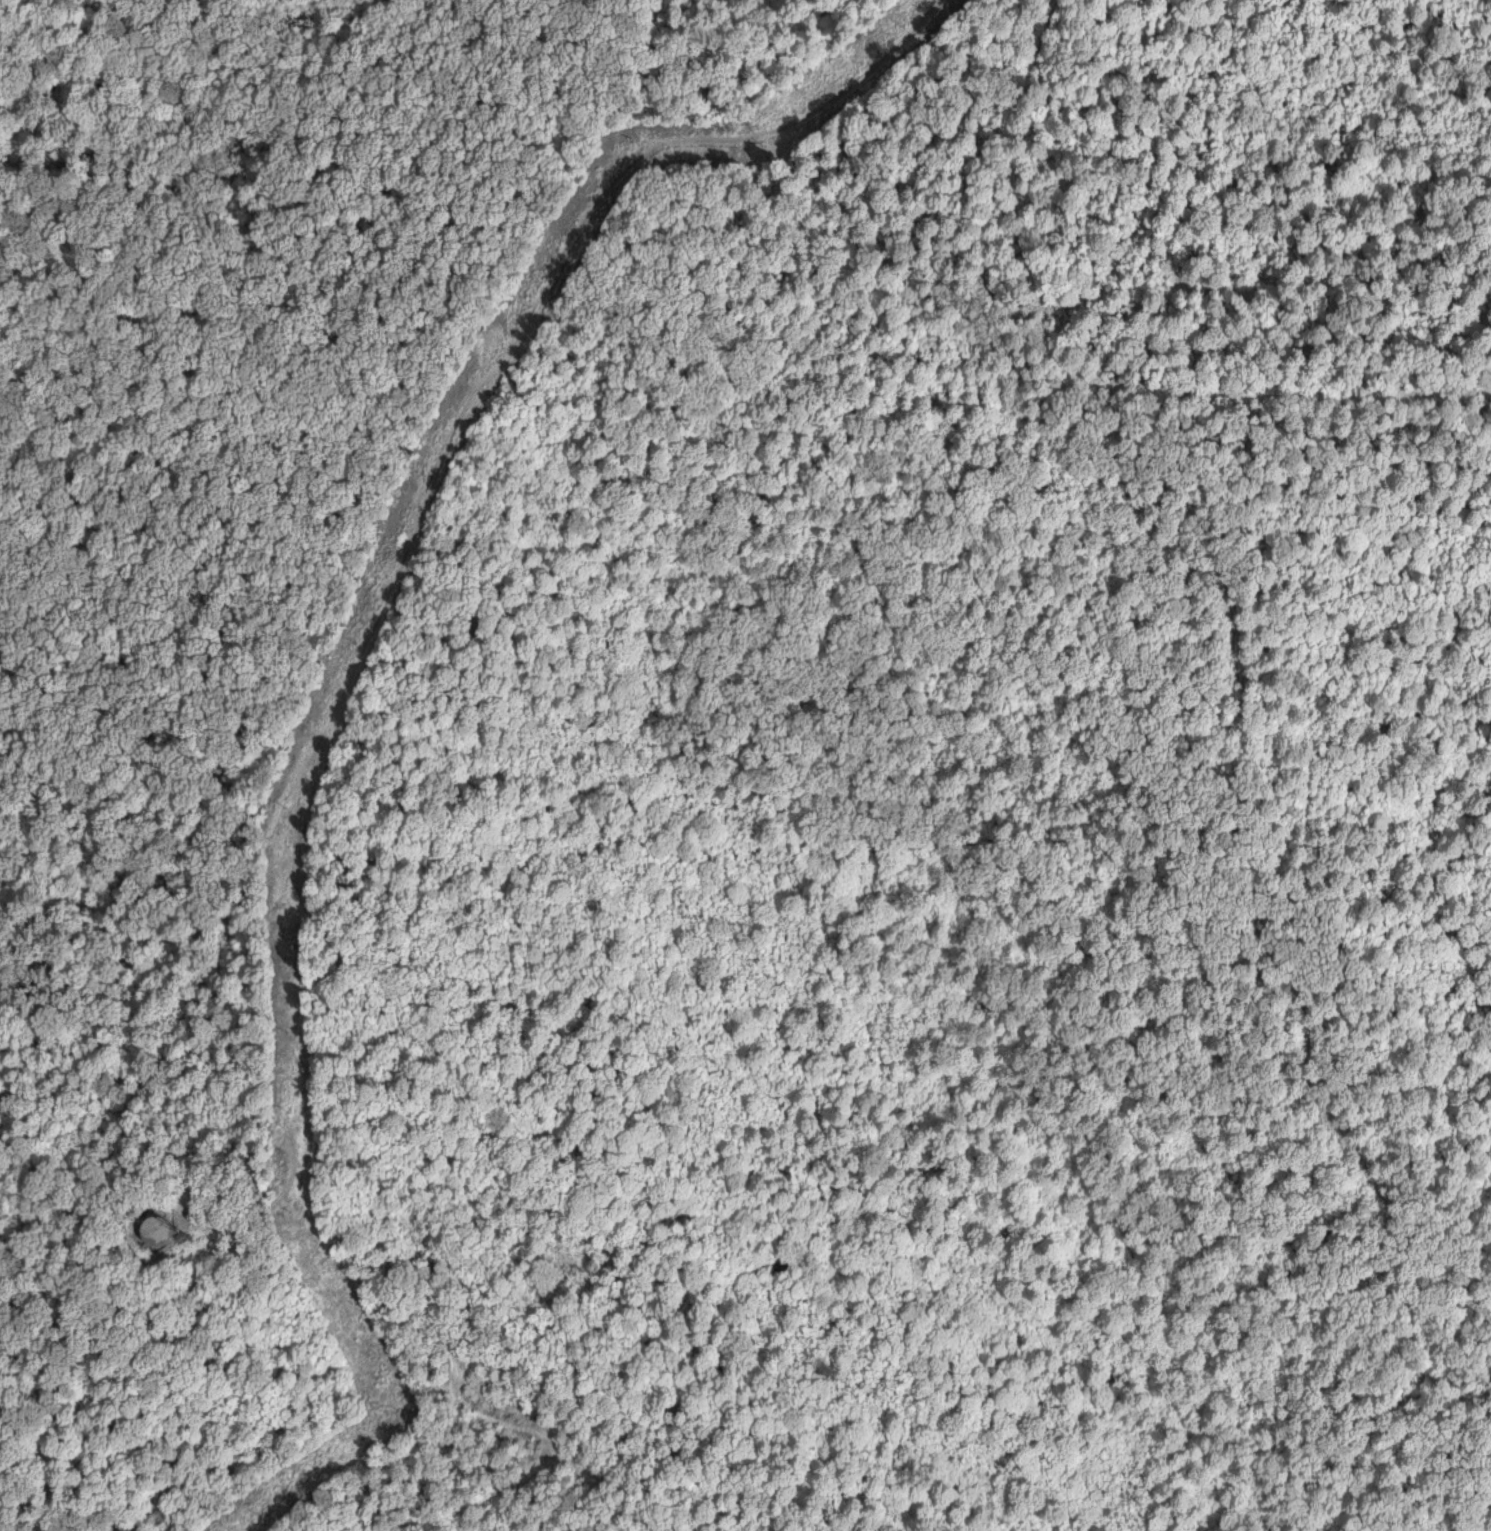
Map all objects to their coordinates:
road: (142, 386)
building: (163, 1229)

